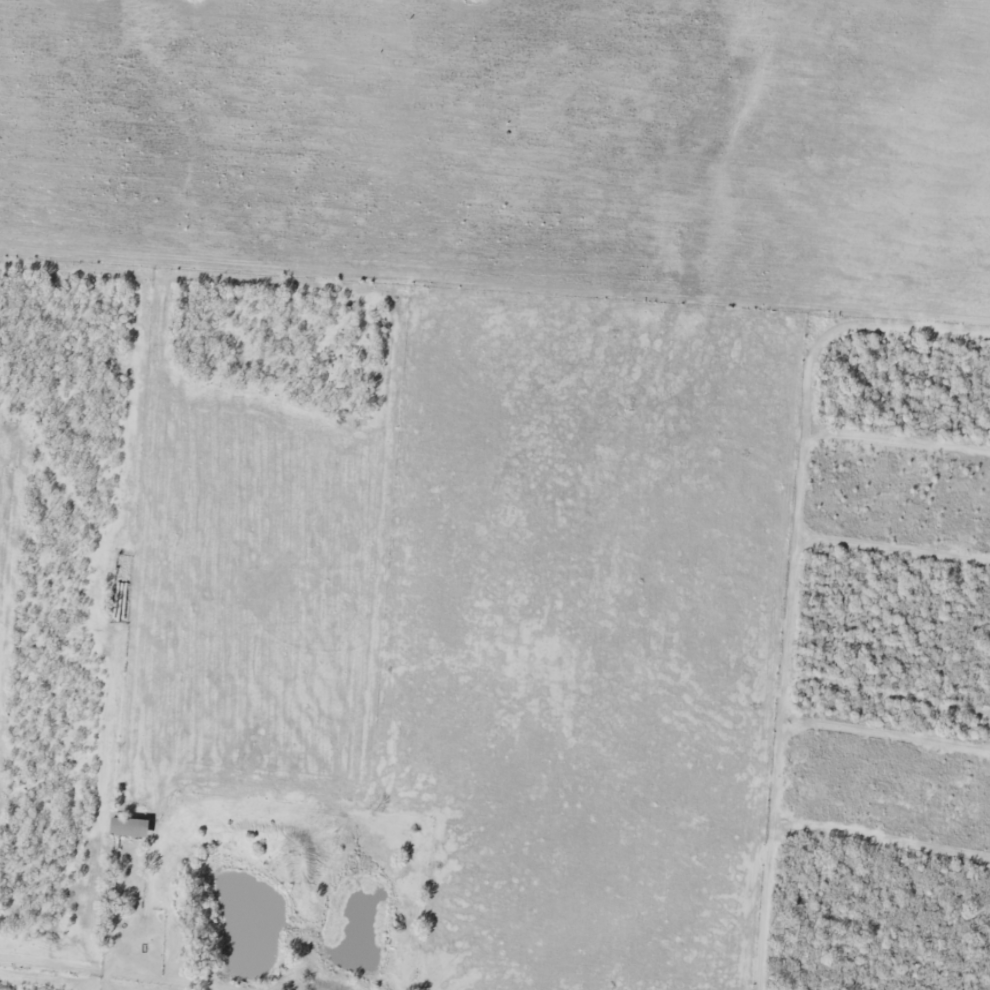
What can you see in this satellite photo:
building: (127, 828)

